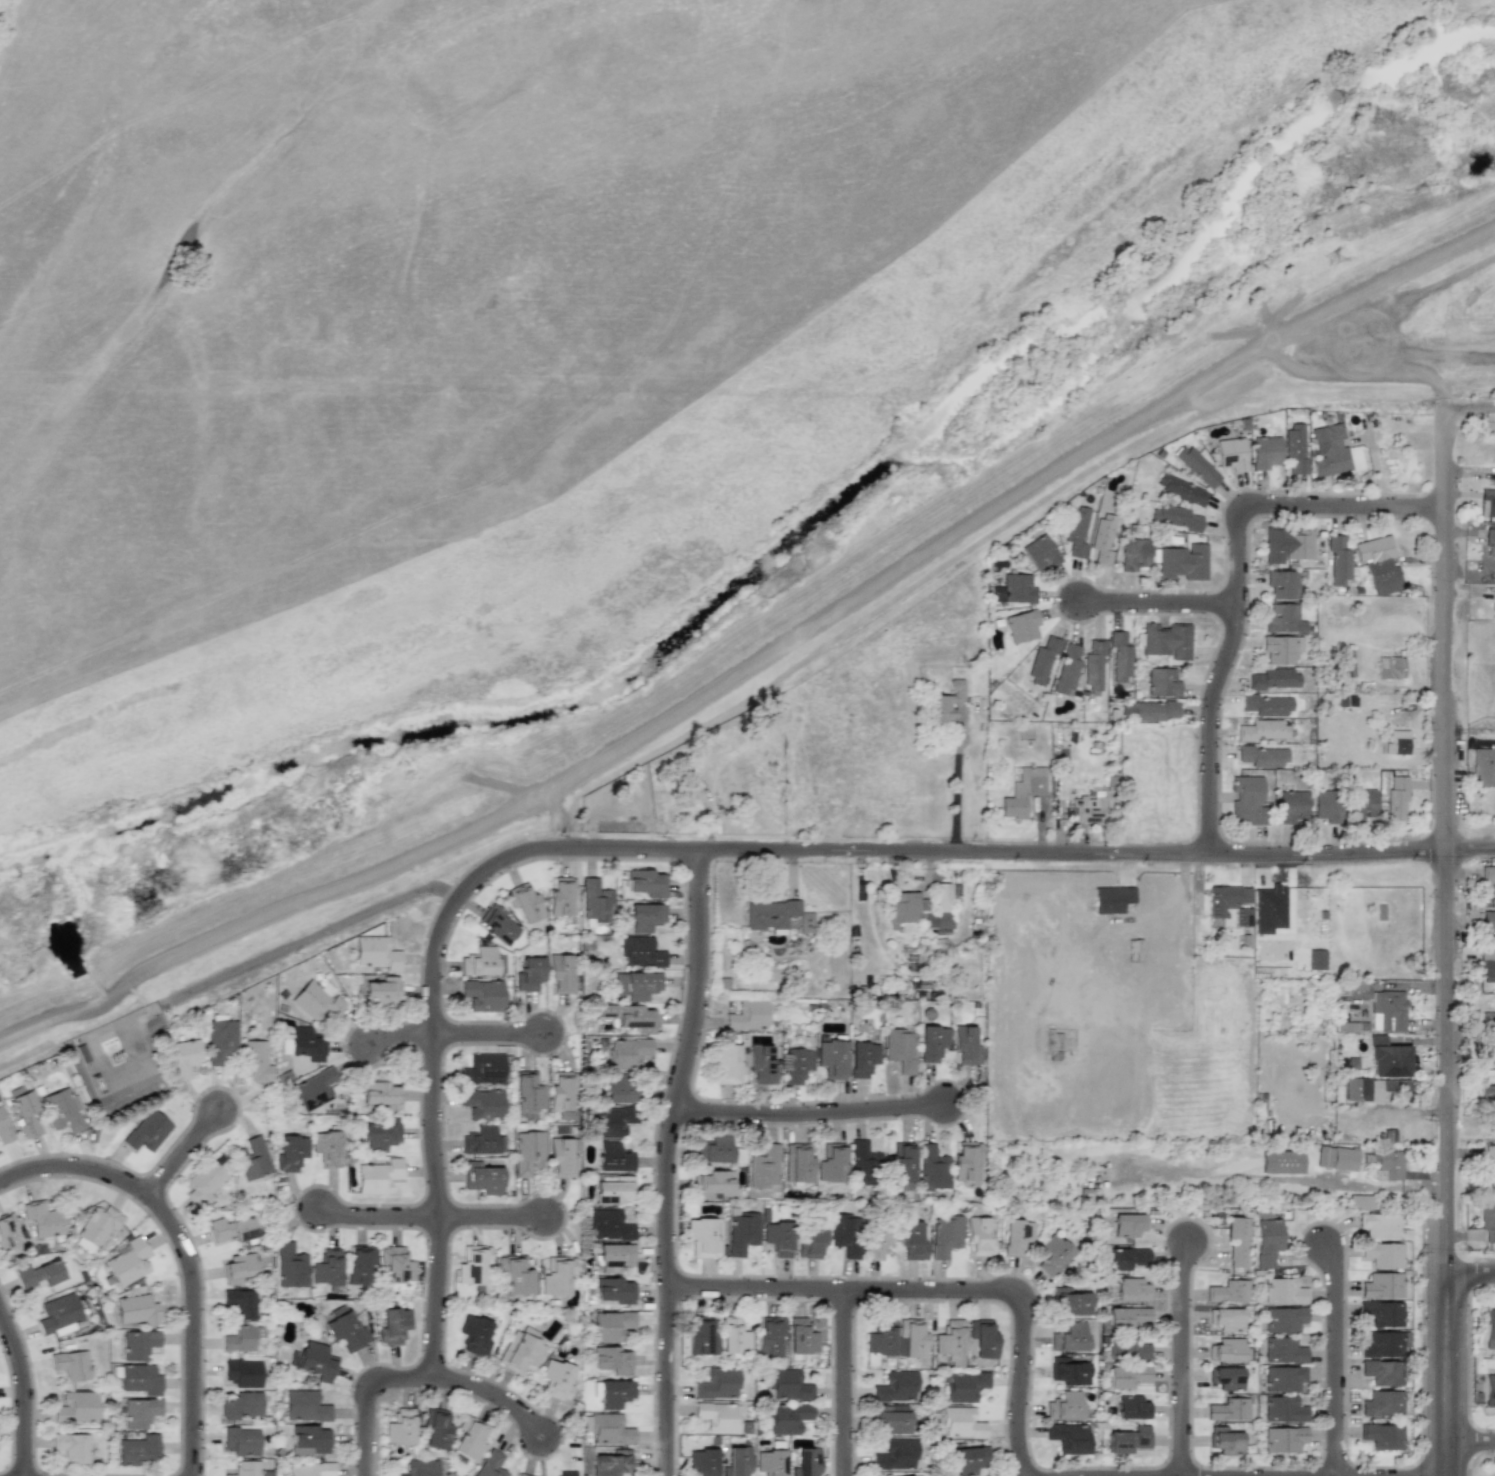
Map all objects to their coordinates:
crop: (1463, 181)
power tower: (1333, 259)
road: (1358, 373)
road: (1470, 403)
building: (1294, 449)
building: (1328, 451)
building: (1265, 452)
building: (1232, 454)
road: (1445, 454)
building: (1197, 466)
building: (1181, 489)
building: (1487, 503)
building: (1175, 518)
building: (1077, 532)
building: (1103, 539)
building: (1490, 542)
building: (1287, 545)
building: (1040, 552)
building: (1134, 554)
building: (1338, 561)
building: (1183, 562)
building: (1378, 564)
building: (1494, 571)
road: (1237, 577)
building: (1281, 584)
building: (1014, 589)
road: (1157, 604)
building: (1283, 619)
building: (1022, 626)
building: (1164, 640)
building: (1281, 649)
building: (1120, 657)
road: (758, 658)
building: (1042, 660)
building: (1094, 665)
building: (1390, 667)
building: (1067, 670)
building: (1273, 679)
building: (1162, 682)
building: (1017, 698)
building: (1345, 701)
building: (947, 702)
building: (1266, 705)
building: (1150, 710)
building: (1263, 730)
building: (1398, 742)
building: (1262, 756)
building: (1483, 765)
road: (954, 785)
building: (1023, 791)
building: (1396, 798)
building: (1247, 800)
building: (1361, 804)
building: (1291, 806)
building: (1326, 806)
building: (1086, 810)
road: (724, 850)
building: (1488, 877)
building: (646, 882)
road: (1442, 888)
building: (562, 897)
building: (1114, 899)
building: (595, 901)
building: (524, 902)
building: (1231, 903)
building: (922, 907)
building: (1269, 909)
building: (776, 915)
building: (646, 917)
building: (1489, 921)
building: (497, 924)
building: (1133, 950)
road: (275, 952)
building: (641, 952)
building: (376, 953)
building: (479, 962)
building: (1486, 965)
building: (561, 973)
building: (529, 974)
building: (636, 985)
building: (382, 992)
building: (483, 995)
building: (1387, 1011)
building: (748, 1015)
building: (630, 1017)
building: (1488, 1019)
road: (453, 1036)
building: (220, 1040)
building: (932, 1043)
building: (306, 1044)
building: (965, 1045)
building: (899, 1049)
building: (626, 1053)
building: (184, 1057)
building: (831, 1058)
building: (1387, 1058)
building: (862, 1059)
building: (255, 1061)
building: (726, 1063)
building: (761, 1065)
building: (796, 1065)
building: (483, 1069)
building: (619, 1088)
building: (314, 1089)
building: (1365, 1089)
building: (528, 1092)
building: (560, 1092)
building: (1487, 1094)
building: (382, 1095)
building: (483, 1104)
building: (63, 1110)
road: (807, 1114)
building: (26, 1115)
building: (613, 1121)
building: (4, 1128)
building: (147, 1131)
building: (383, 1133)
building: (482, 1141)
building: (328, 1148)
building: (714, 1148)
building: (291, 1152)
building: (529, 1152)
road: (180, 1156)
building: (561, 1157)
building: (614, 1157)
building: (252, 1158)
building: (1336, 1158)
road: (665, 1161)
building: (861, 1161)
building: (965, 1161)
building: (1281, 1162)
building: (796, 1163)
building: (830, 1163)
building: (899, 1163)
building: (1388, 1165)
building: (764, 1167)
building: (931, 1169)
building: (378, 1176)
building: (482, 1178)
building: (204, 1182)
building: (711, 1184)
building: (614, 1190)
building: (1359, 1201)
road: (377, 1218)
building: (42, 1219)
road: (489, 1219)
building: (1487, 1219)
building: (609, 1225)
building: (1127, 1225)
building: (1381, 1226)
building: (97, 1228)
building: (232, 1229)
building: (741, 1231)
building: (7, 1232)
building: (844, 1233)
building: (945, 1235)
building: (703, 1236)
building: (979, 1236)
building: (1016, 1236)
building: (778, 1238)
building: (1236, 1240)
building: (1267, 1241)
building: (811, 1242)
building: (876, 1242)
building: (911, 1242)
road: (183, 1254)
building: (1052, 1254)
building: (1382, 1254)
building: (615, 1257)
building: (1124, 1258)
building: (128, 1262)
building: (360, 1264)
building: (472, 1264)
building: (396, 1265)
building: (290, 1266)
building: (238, 1268)
building: (327, 1268)
road: (1469, 1272)
building: (41, 1273)
building: (515, 1275)
building: (557, 1276)
building: (1382, 1285)
building: (613, 1290)
building: (1131, 1290)
building: (1283, 1291)
road: (936, 1292)
building: (1227, 1292)
building: (1071, 1301)
building: (240, 1303)
building: (138, 1310)
building: (59, 1313)
building: (1382, 1313)
building: (1128, 1318)
building: (1225, 1319)
building: (1283, 1320)
building: (393, 1325)
building: (610, 1325)
building: (1489, 1328)
building: (346, 1330)
building: (475, 1335)
building: (701, 1336)
building: (733, 1336)
building: (768, 1336)
building: (801, 1336)
building: (1069, 1337)
building: (242, 1338)
building: (880, 1338)
building: (911, 1338)
building: (982, 1338)
building: (950, 1342)
building: (139, 1344)
building: (1383, 1344)
building: (1126, 1349)
building: (1226, 1350)
building: (1282, 1350)
building: (520, 1351)
road: (1180, 1358)
building: (612, 1360)
building: (316, 1361)
road: (1335, 1361)
building: (71, 1365)
building: (1067, 1371)
building: (243, 1372)
building: (1382, 1372)
road: (1444, 1374)
building: (1126, 1376)
building: (1225, 1378)
building: (1283, 1378)
building: (140, 1379)
building: (557, 1380)
road: (842, 1383)
building: (717, 1384)
building: (787, 1385)
building: (962, 1386)
building: (895, 1387)
building: (1489, 1390)
building: (614, 1393)
road: (365, 1394)
road: (21, 1396)
road: (492, 1396)
building: (1382, 1404)
building: (242, 1405)
building: (305, 1406)
building: (1064, 1406)
building: (76, 1407)
building: (1131, 1407)
building: (1228, 1409)
building: (1283, 1409)
building: (140, 1412)
building: (717, 1416)
building: (786, 1418)
building: (891, 1419)
building: (960, 1423)
building: (400, 1427)
building: (436, 1428)
building: (610, 1429)
building: (1382, 1436)
building: (470, 1438)
building: (1068, 1438)
building: (1283, 1439)
building: (310, 1440)
building: (1128, 1440)
building: (241, 1441)
building: (1224, 1441)
road: (1470, 1441)
building: (72, 1446)
building: (138, 1450)
building: (895, 1455)
building: (968, 1460)
building: (703, 1461)
building: (736, 1461)
building: (770, 1462)
building: (805, 1462)
building: (612, 1463)
building: (490, 1464)
building: (246, 1468)
building: (421, 1468)
building: (311, 1469)
building: (566, 1473)
building: (521, 1475)

